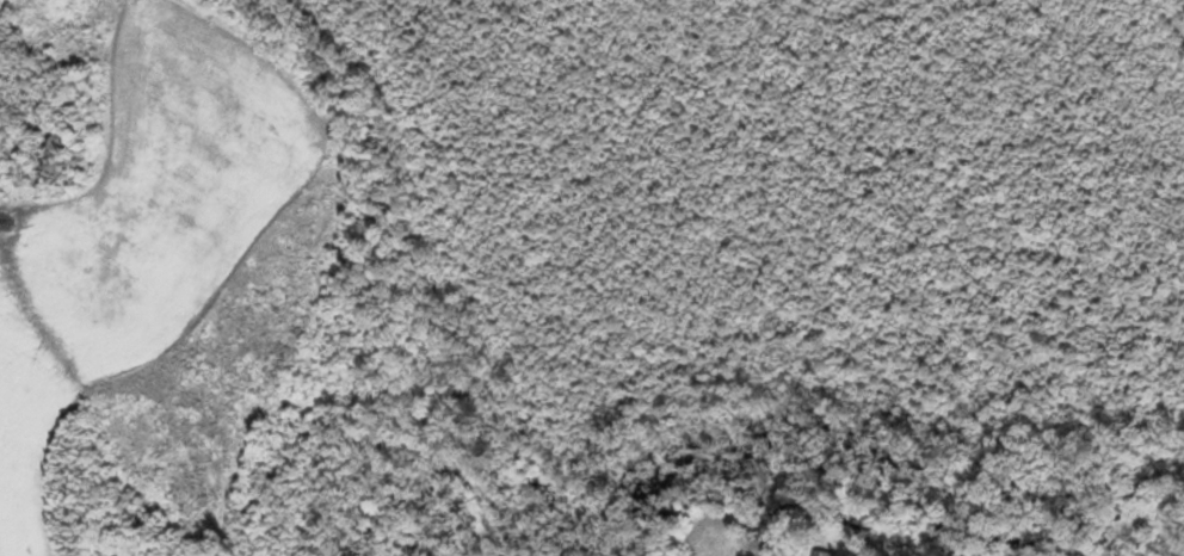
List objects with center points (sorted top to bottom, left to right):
building: (825, 551)

